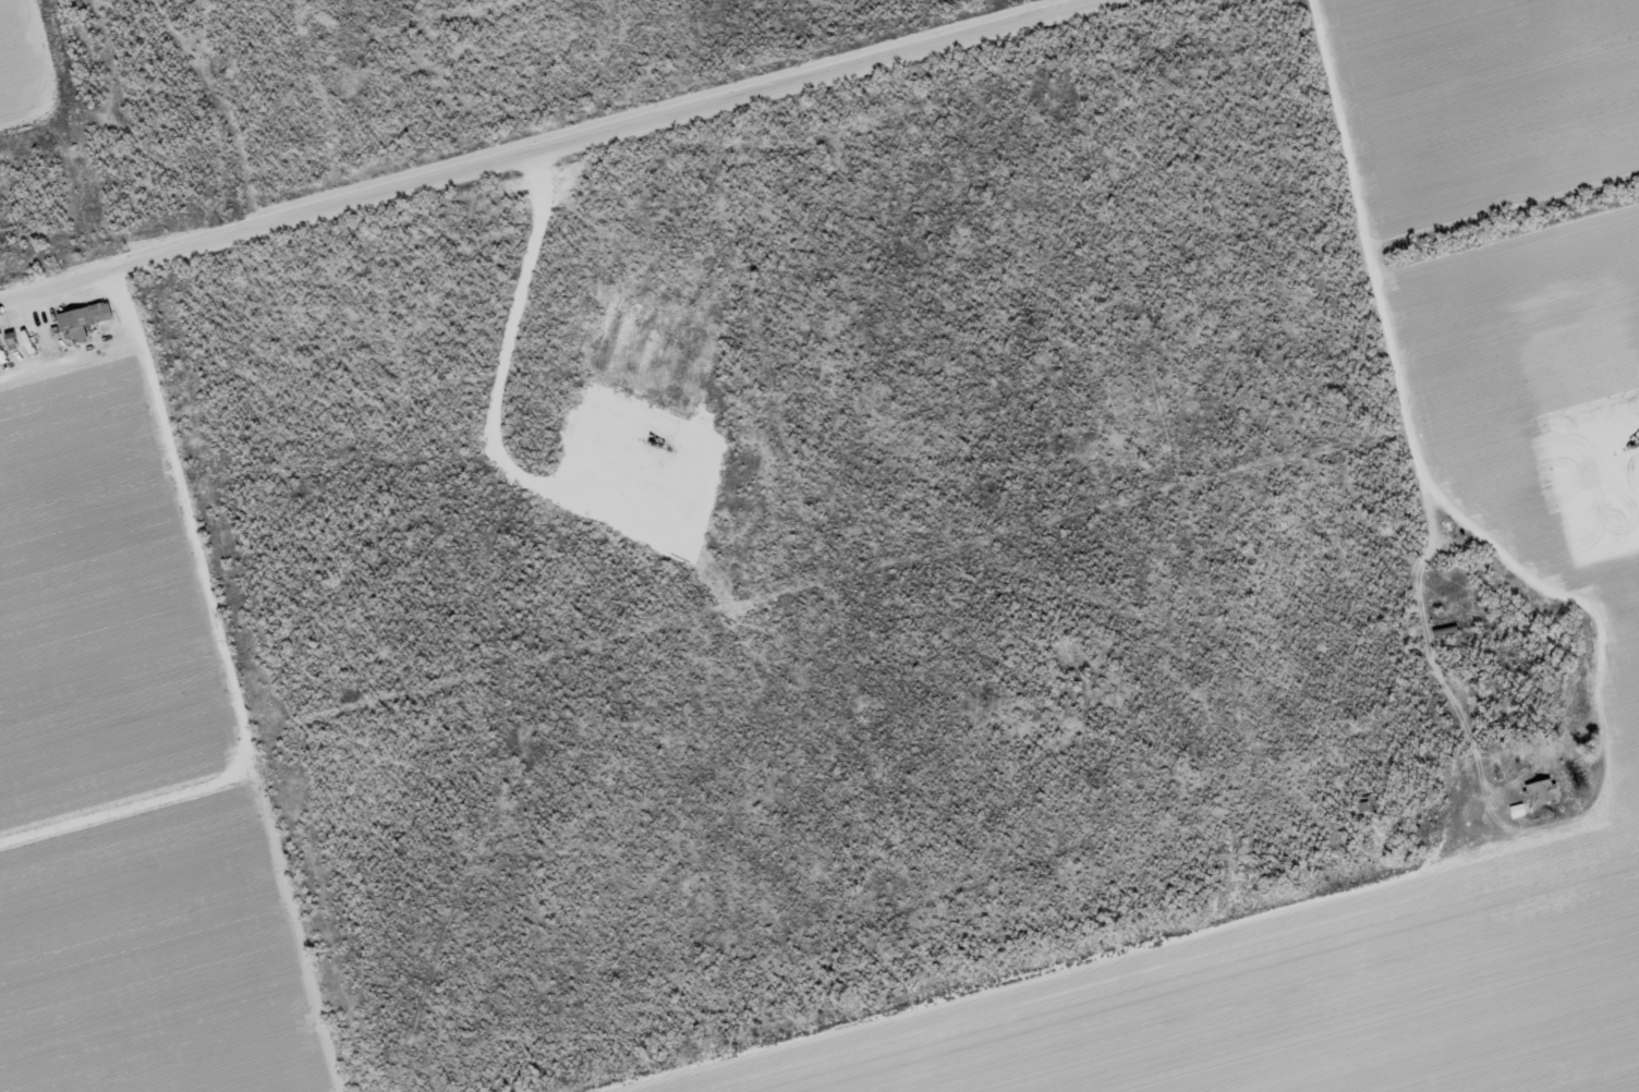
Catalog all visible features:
building: (223, 65)
road: (578, 151)
building: (83, 320)
road: (101, 354)
road: (1420, 543)
building: (1540, 788)
building: (1367, 804)
building: (1518, 811)

